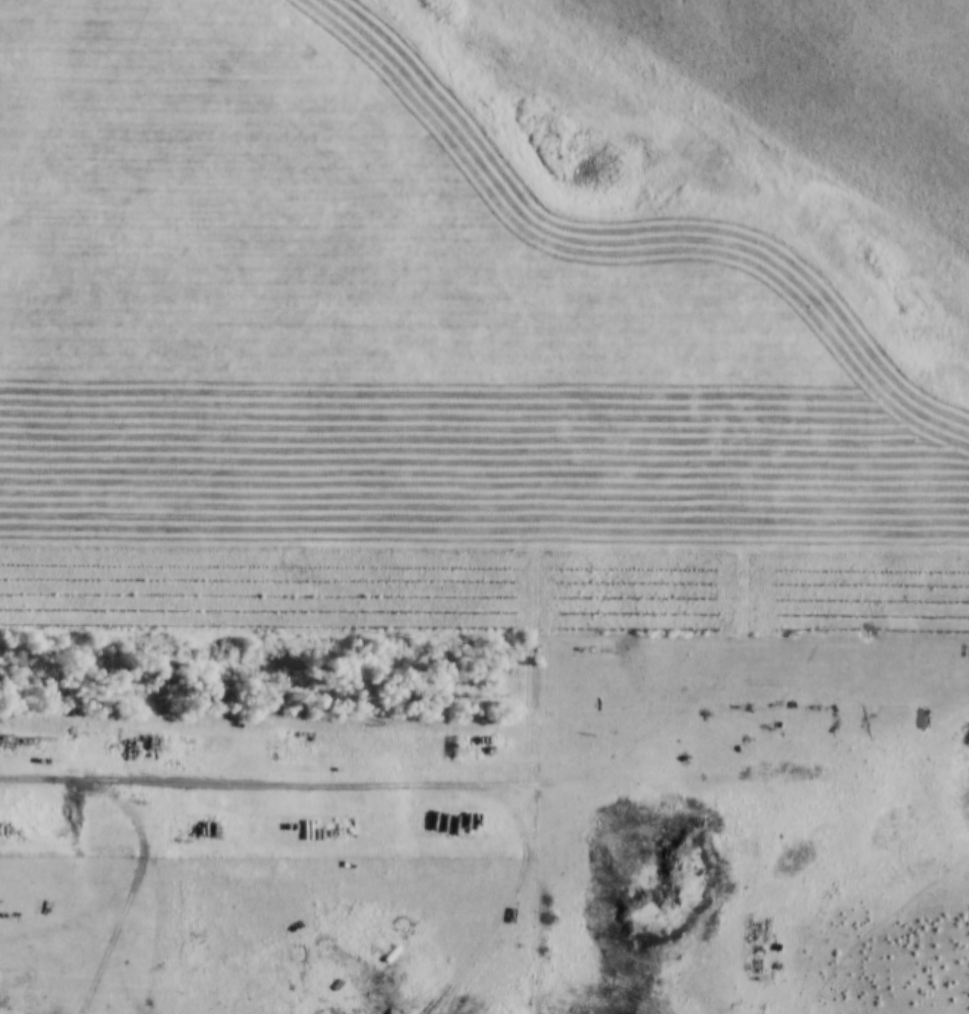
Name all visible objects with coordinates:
building: (276, 756)
road: (282, 784)

